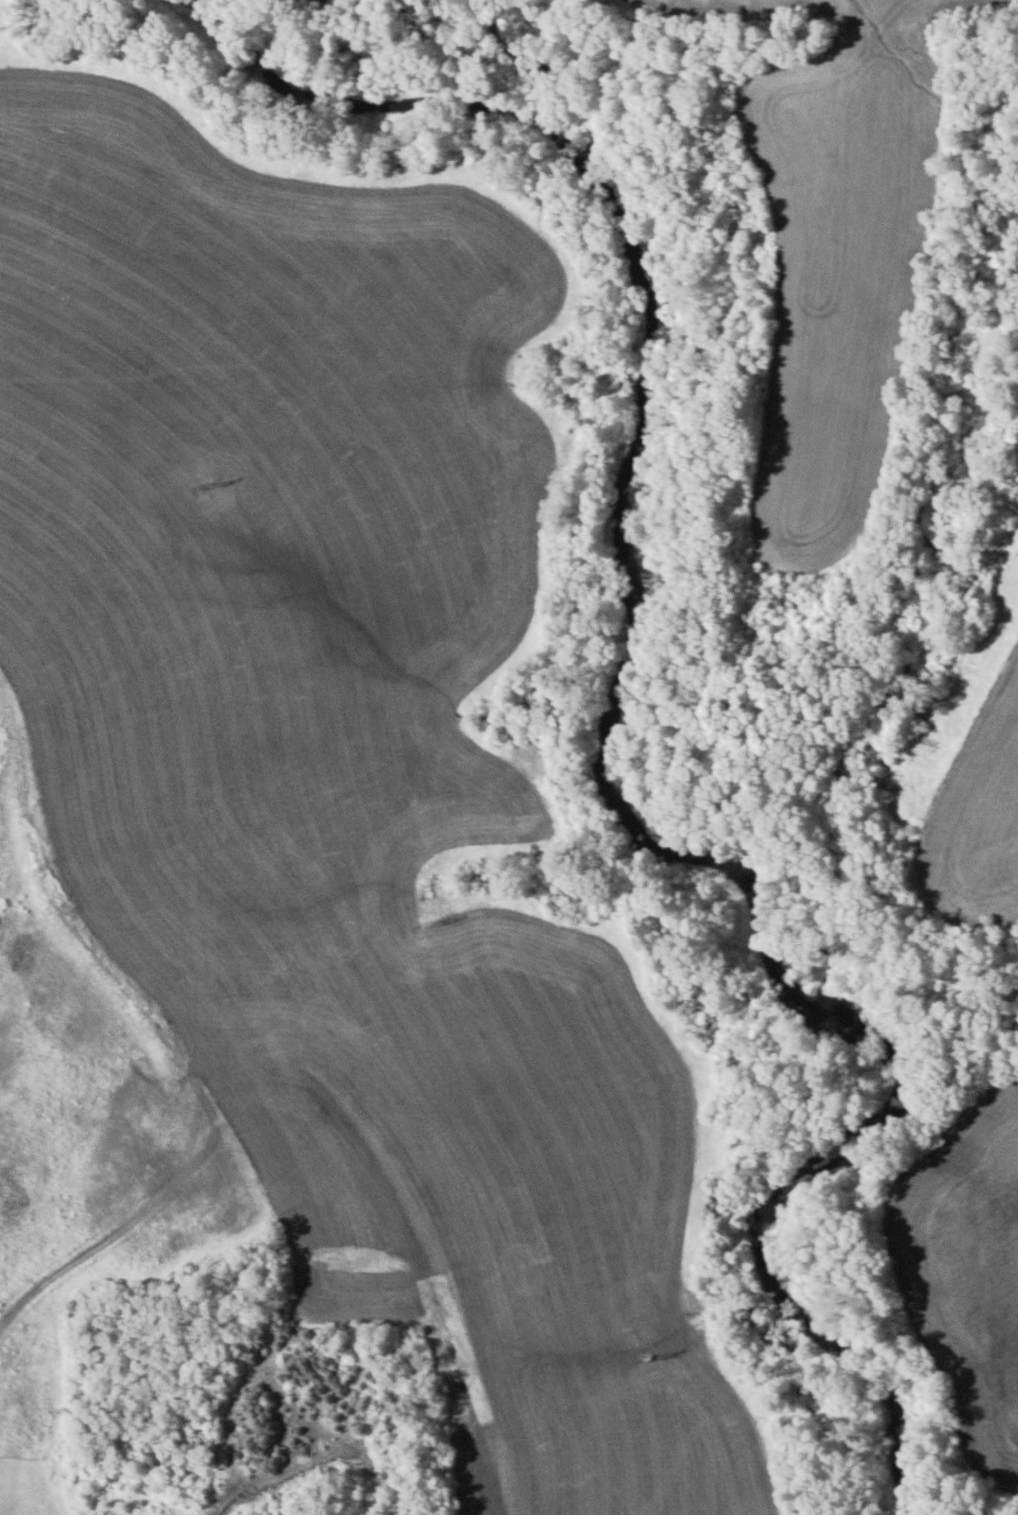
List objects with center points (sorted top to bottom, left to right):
power tower: (207, 488)
power tower: (428, 927)
power tower: (651, 1359)

